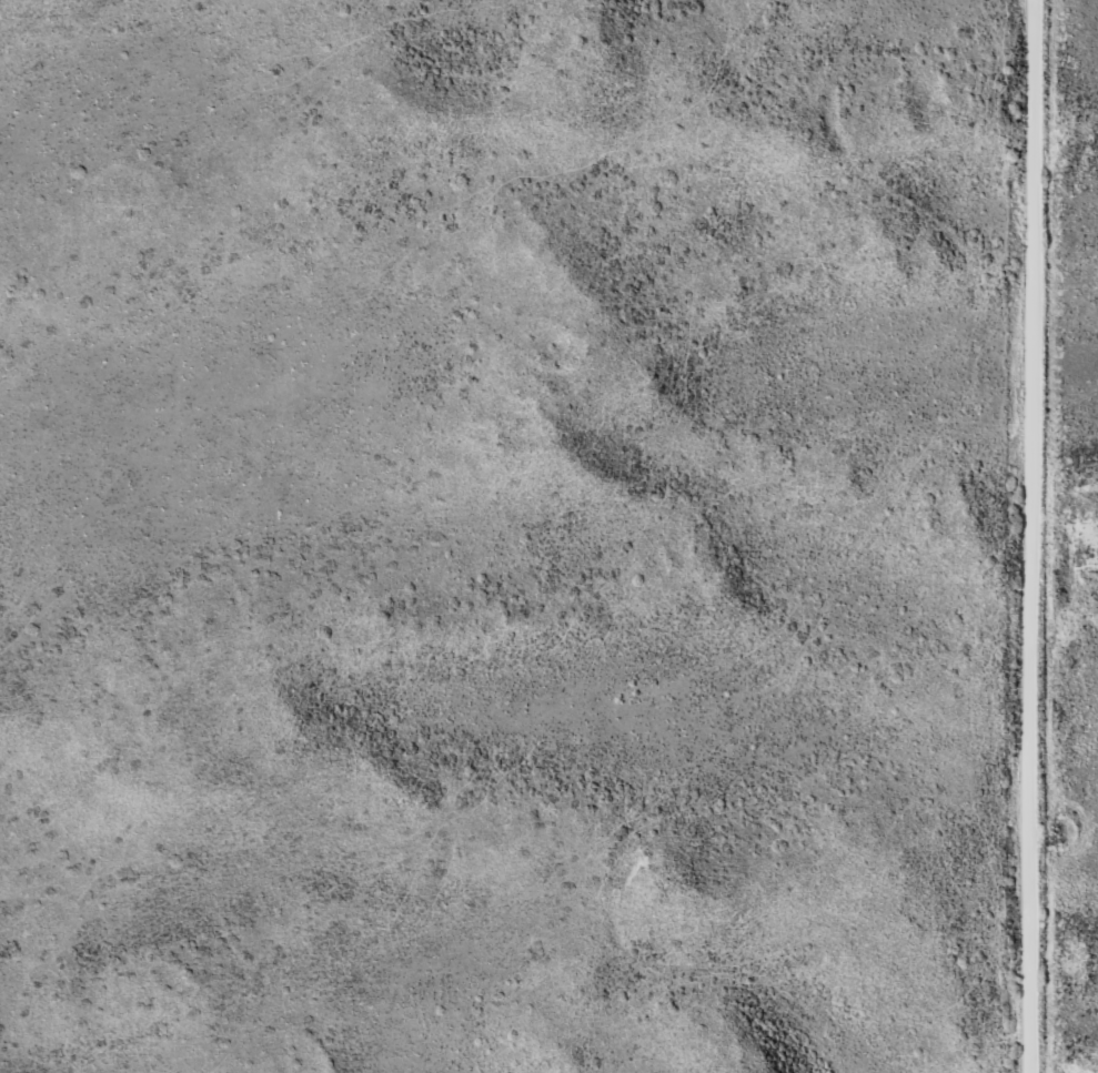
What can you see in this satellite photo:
road: (1030, 536)

